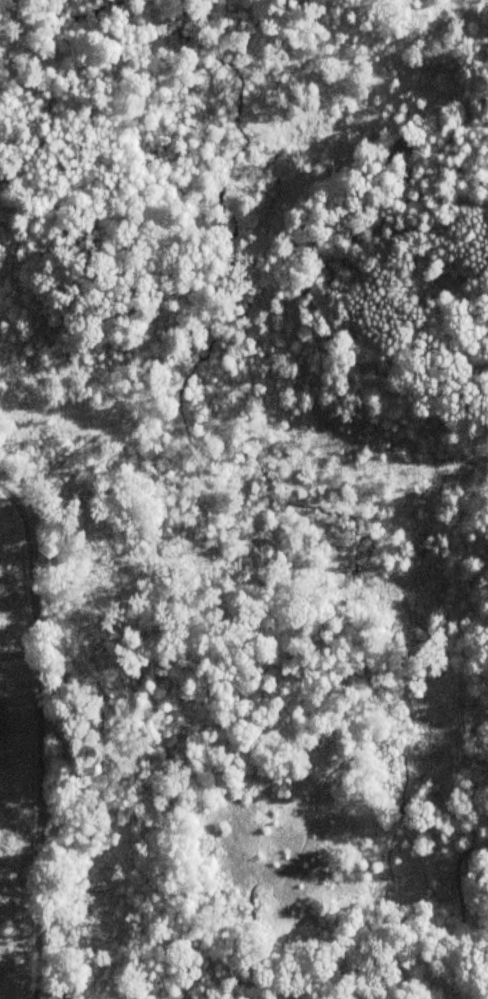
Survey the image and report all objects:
road: (320, 256)
park: (244, 499)
road: (78, 734)
road: (40, 738)

